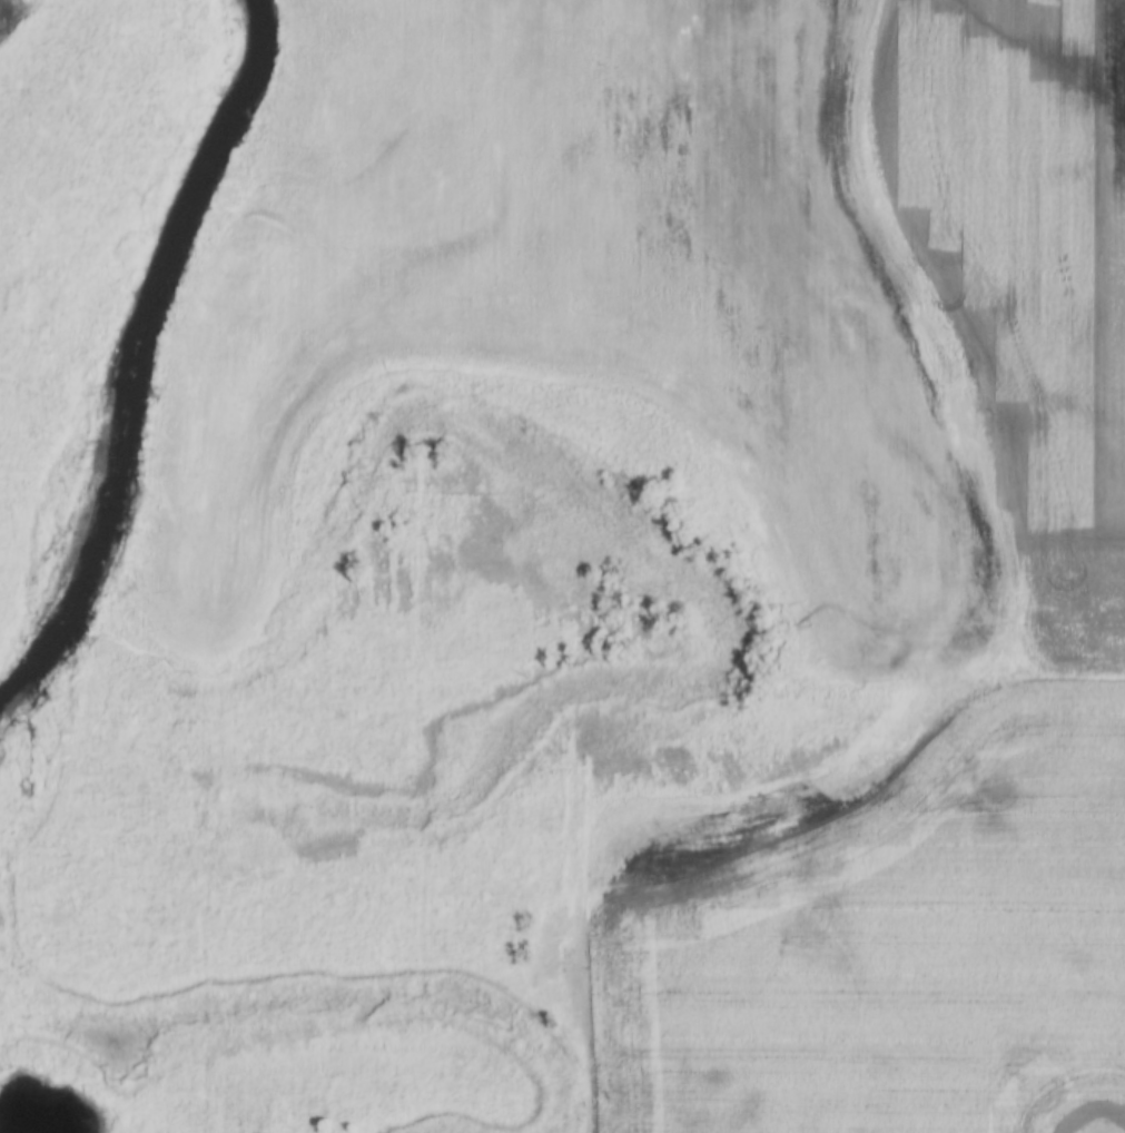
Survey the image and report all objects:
river: (125, 366)

